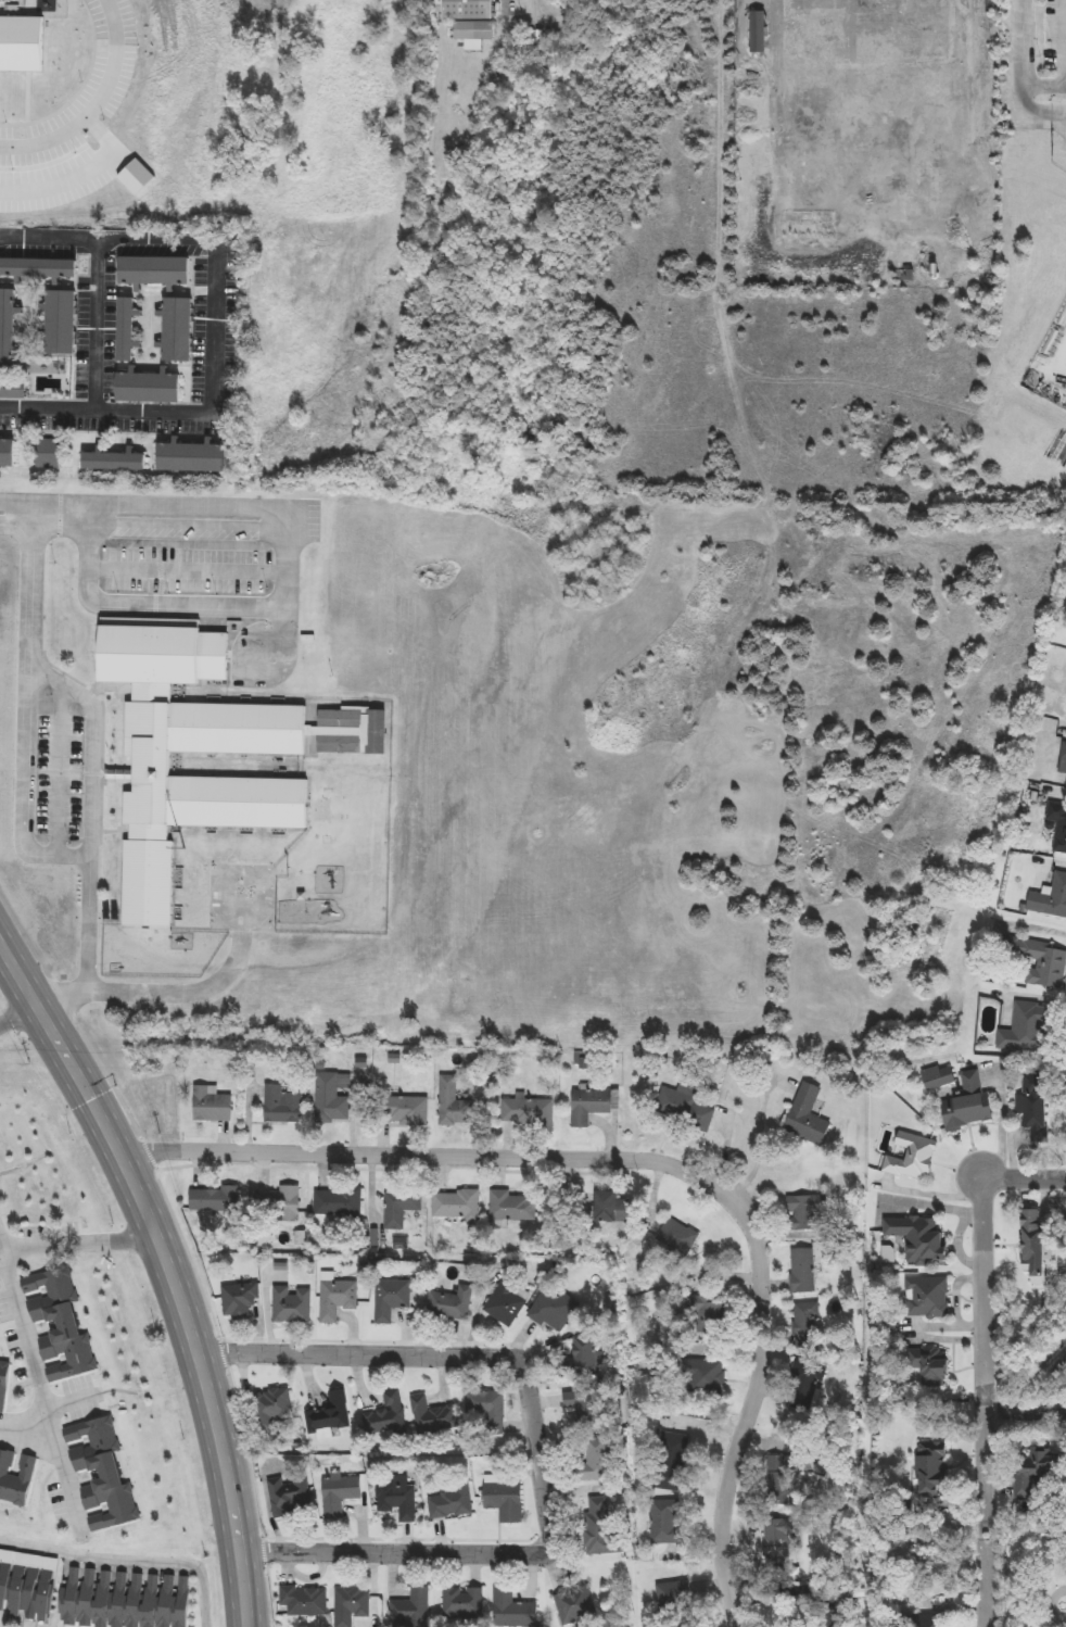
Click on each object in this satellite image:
building: (468, 10)
building: (473, 30)
building: (759, 31)
parking lot: (1054, 38)
road: (1064, 42)
building: (18, 43)
road: (1027, 68)
road: (1046, 86)
road: (92, 101)
building: (3, 103)
road: (1058, 113)
parking lot: (69, 124)
building: (7, 136)
building: (3, 167)
road: (80, 171)
building: (136, 179)
road: (196, 240)
building: (38, 269)
building: (154, 272)
building: (59, 323)
road: (100, 324)
building: (8, 328)
building: (178, 329)
building: (125, 330)
building: (148, 387)
building: (13, 388)
road: (109, 411)
building: (8, 452)
building: (48, 454)
building: (191, 457)
building: (114, 461)
road: (162, 518)
road: (187, 541)
parking lot: (187, 559)
road: (187, 568)
road: (186, 605)
road: (94, 745)
building: (201, 751)
building: (1063, 759)
road: (60, 769)
parking lot: (58, 775)
road: (26, 780)
building: (1058, 825)
building: (1051, 899)
building: (1042, 962)
road: (207, 991)
road: (60, 997)
road: (18, 1014)
building: (1027, 1029)
road: (107, 1075)
building: (938, 1077)
building: (332, 1097)
building: (454, 1102)
building: (967, 1102)
building: (282, 1103)
building: (211, 1105)
building: (591, 1105)
building: (1035, 1107)
building: (682, 1109)
building: (407, 1110)
building: (528, 1111)
building: (808, 1115)
road: (762, 1140)
road: (148, 1151)
road: (442, 1157)
building: (911, 1157)
road: (379, 1166)
road: (1025, 1180)
building: (215, 1199)
building: (340, 1202)
building: (457, 1203)
building: (280, 1205)
building: (605, 1206)
building: (512, 1207)
building: (401, 1208)
building: (809, 1210)
building: (1031, 1234)
building: (678, 1237)
building: (917, 1237)
road: (77, 1241)
road: (188, 1249)
road: (170, 1267)
building: (802, 1271)
building: (927, 1297)
building: (337, 1298)
building: (391, 1298)
building: (240, 1301)
building: (508, 1302)
building: (452, 1303)
building: (292, 1306)
building: (554, 1309)
building: (707, 1310)
building: (59, 1323)
building: (807, 1326)
road: (361, 1338)
road: (221, 1351)
road: (988, 1359)
road: (34, 1360)
building: (582, 1361)
building: (928, 1366)
building: (705, 1377)
building: (3, 1385)
building: (805, 1387)
building: (583, 1405)
building: (274, 1409)
building: (487, 1410)
road: (1027, 1412)
building: (331, 1413)
building: (388, 1416)
building: (433, 1416)
road: (749, 1416)
road: (536, 1436)
road: (248, 1451)
building: (595, 1461)
building: (673, 1461)
building: (931, 1468)
building: (1036, 1470)
building: (101, 1472)
building: (791, 1472)
building: (15, 1478)
road: (69, 1481)
building: (339, 1493)
building: (291, 1494)
building: (398, 1498)
building: (505, 1500)
building: (450, 1502)
building: (665, 1523)
building: (601, 1528)
road: (395, 1536)
building: (772, 1540)
road: (263, 1549)
road: (128, 1556)
road: (989, 1582)
building: (26, 1592)
road: (269, 1596)
building: (69, 1598)
building: (85, 1598)
building: (102, 1599)
building: (118, 1599)
building: (134, 1599)
building: (150, 1600)
building: (166, 1600)
building: (674, 1600)
building: (182, 1601)
building: (305, 1601)
building: (464, 1603)
building: (351, 1605)
building: (576, 1605)
building: (411, 1610)
building: (512, 1610)
building: (834, 1620)
building: (928, 1620)

